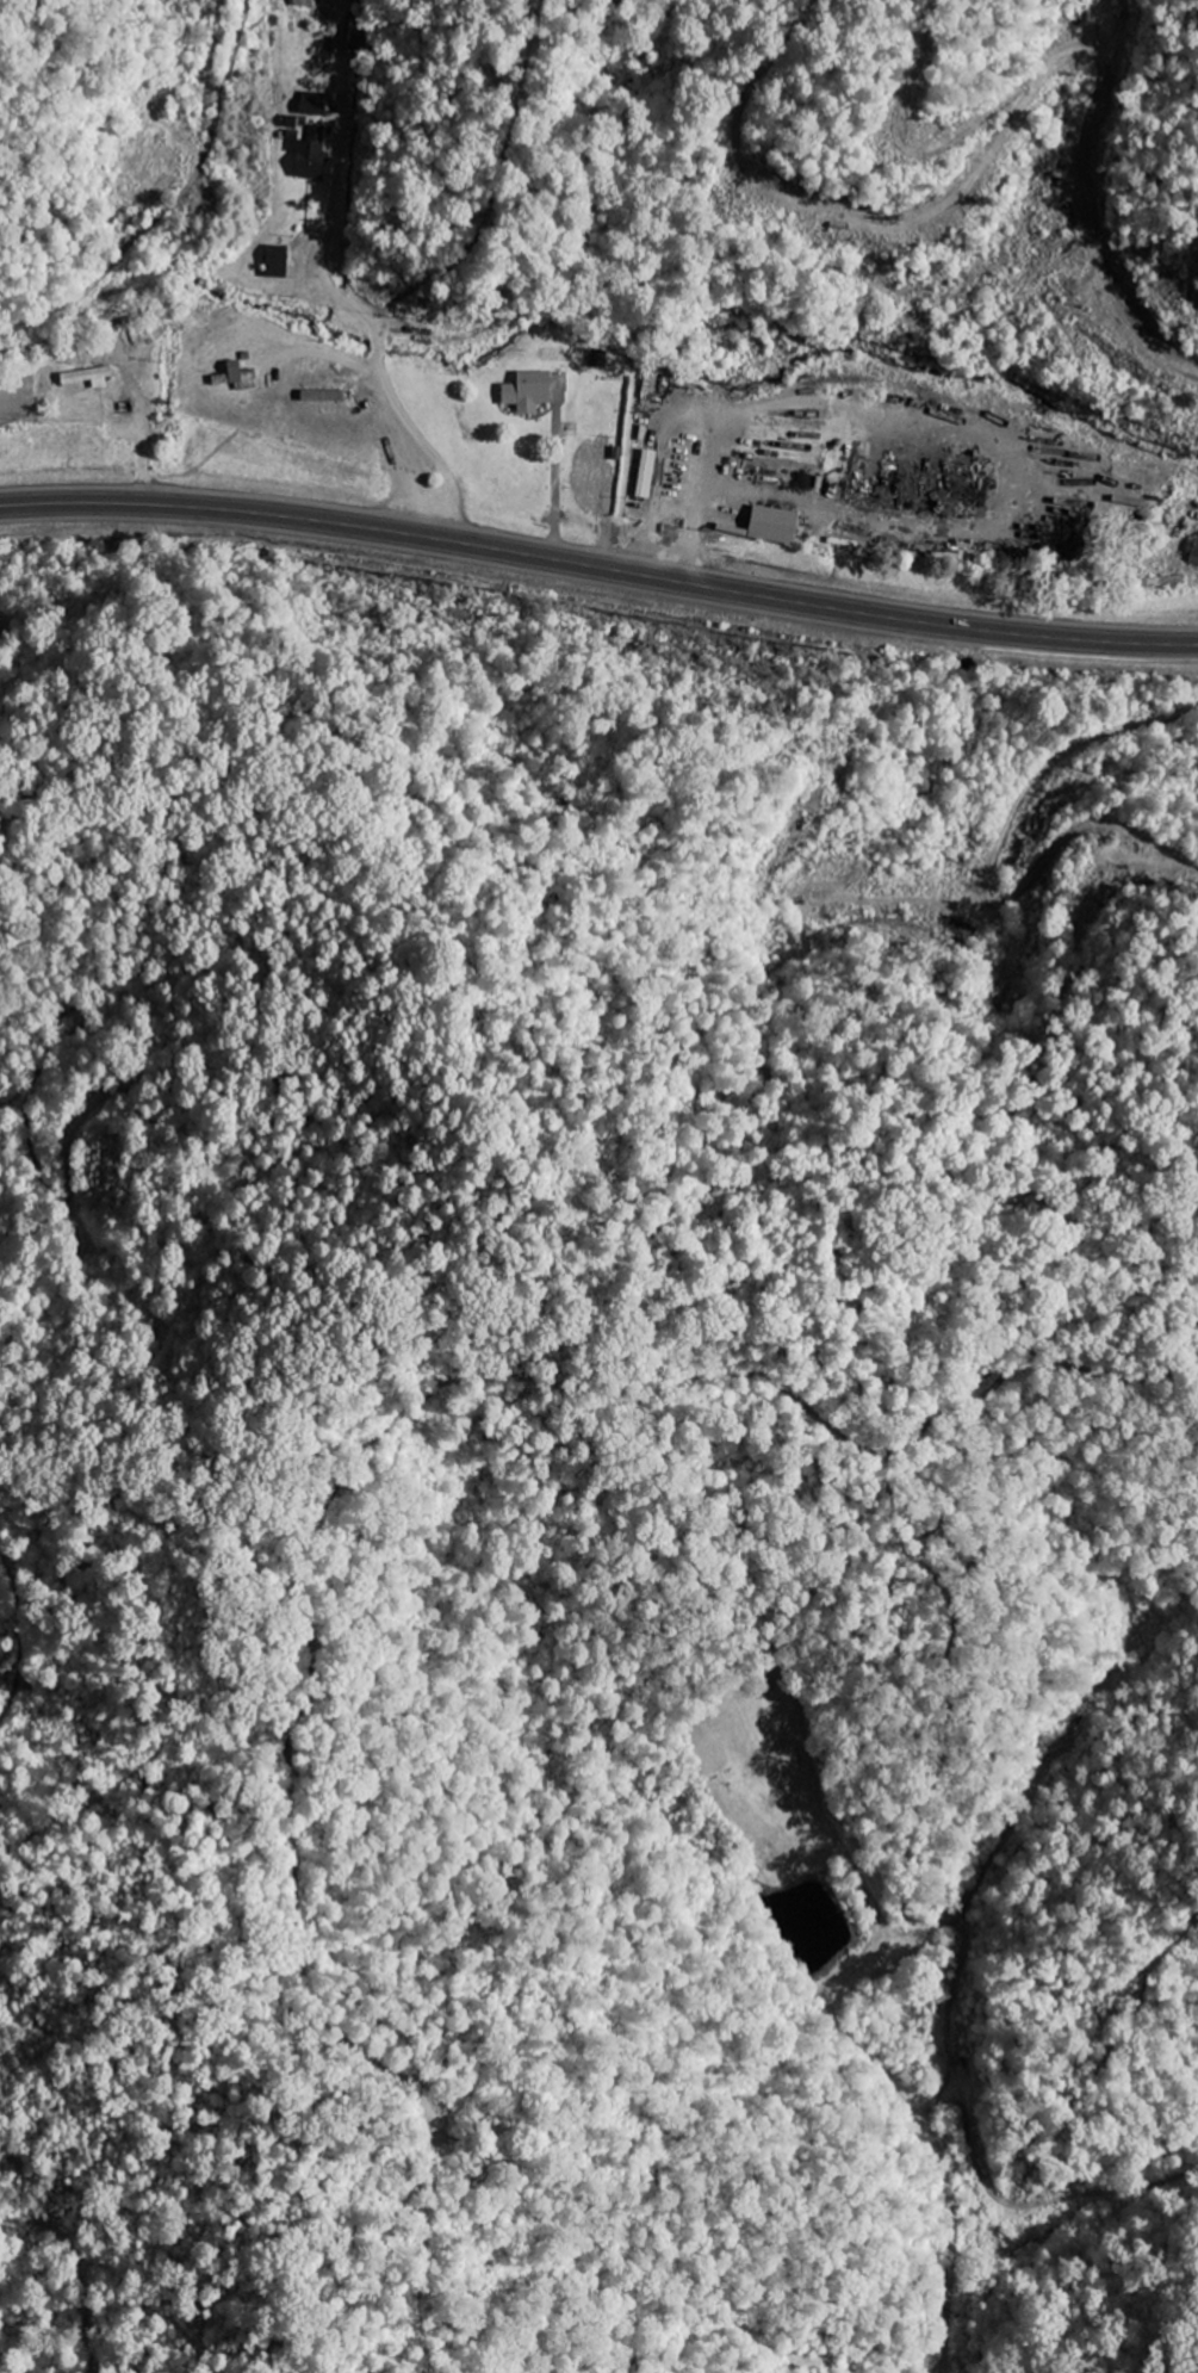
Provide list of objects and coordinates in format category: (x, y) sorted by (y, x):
building: (303, 4)
building: (312, 105)
building: (309, 155)
building: (275, 262)
road: (335, 286)
building: (236, 378)
building: (88, 379)
building: (527, 394)
building: (646, 476)
building: (772, 527)
building: (1194, 556)
road: (598, 566)

